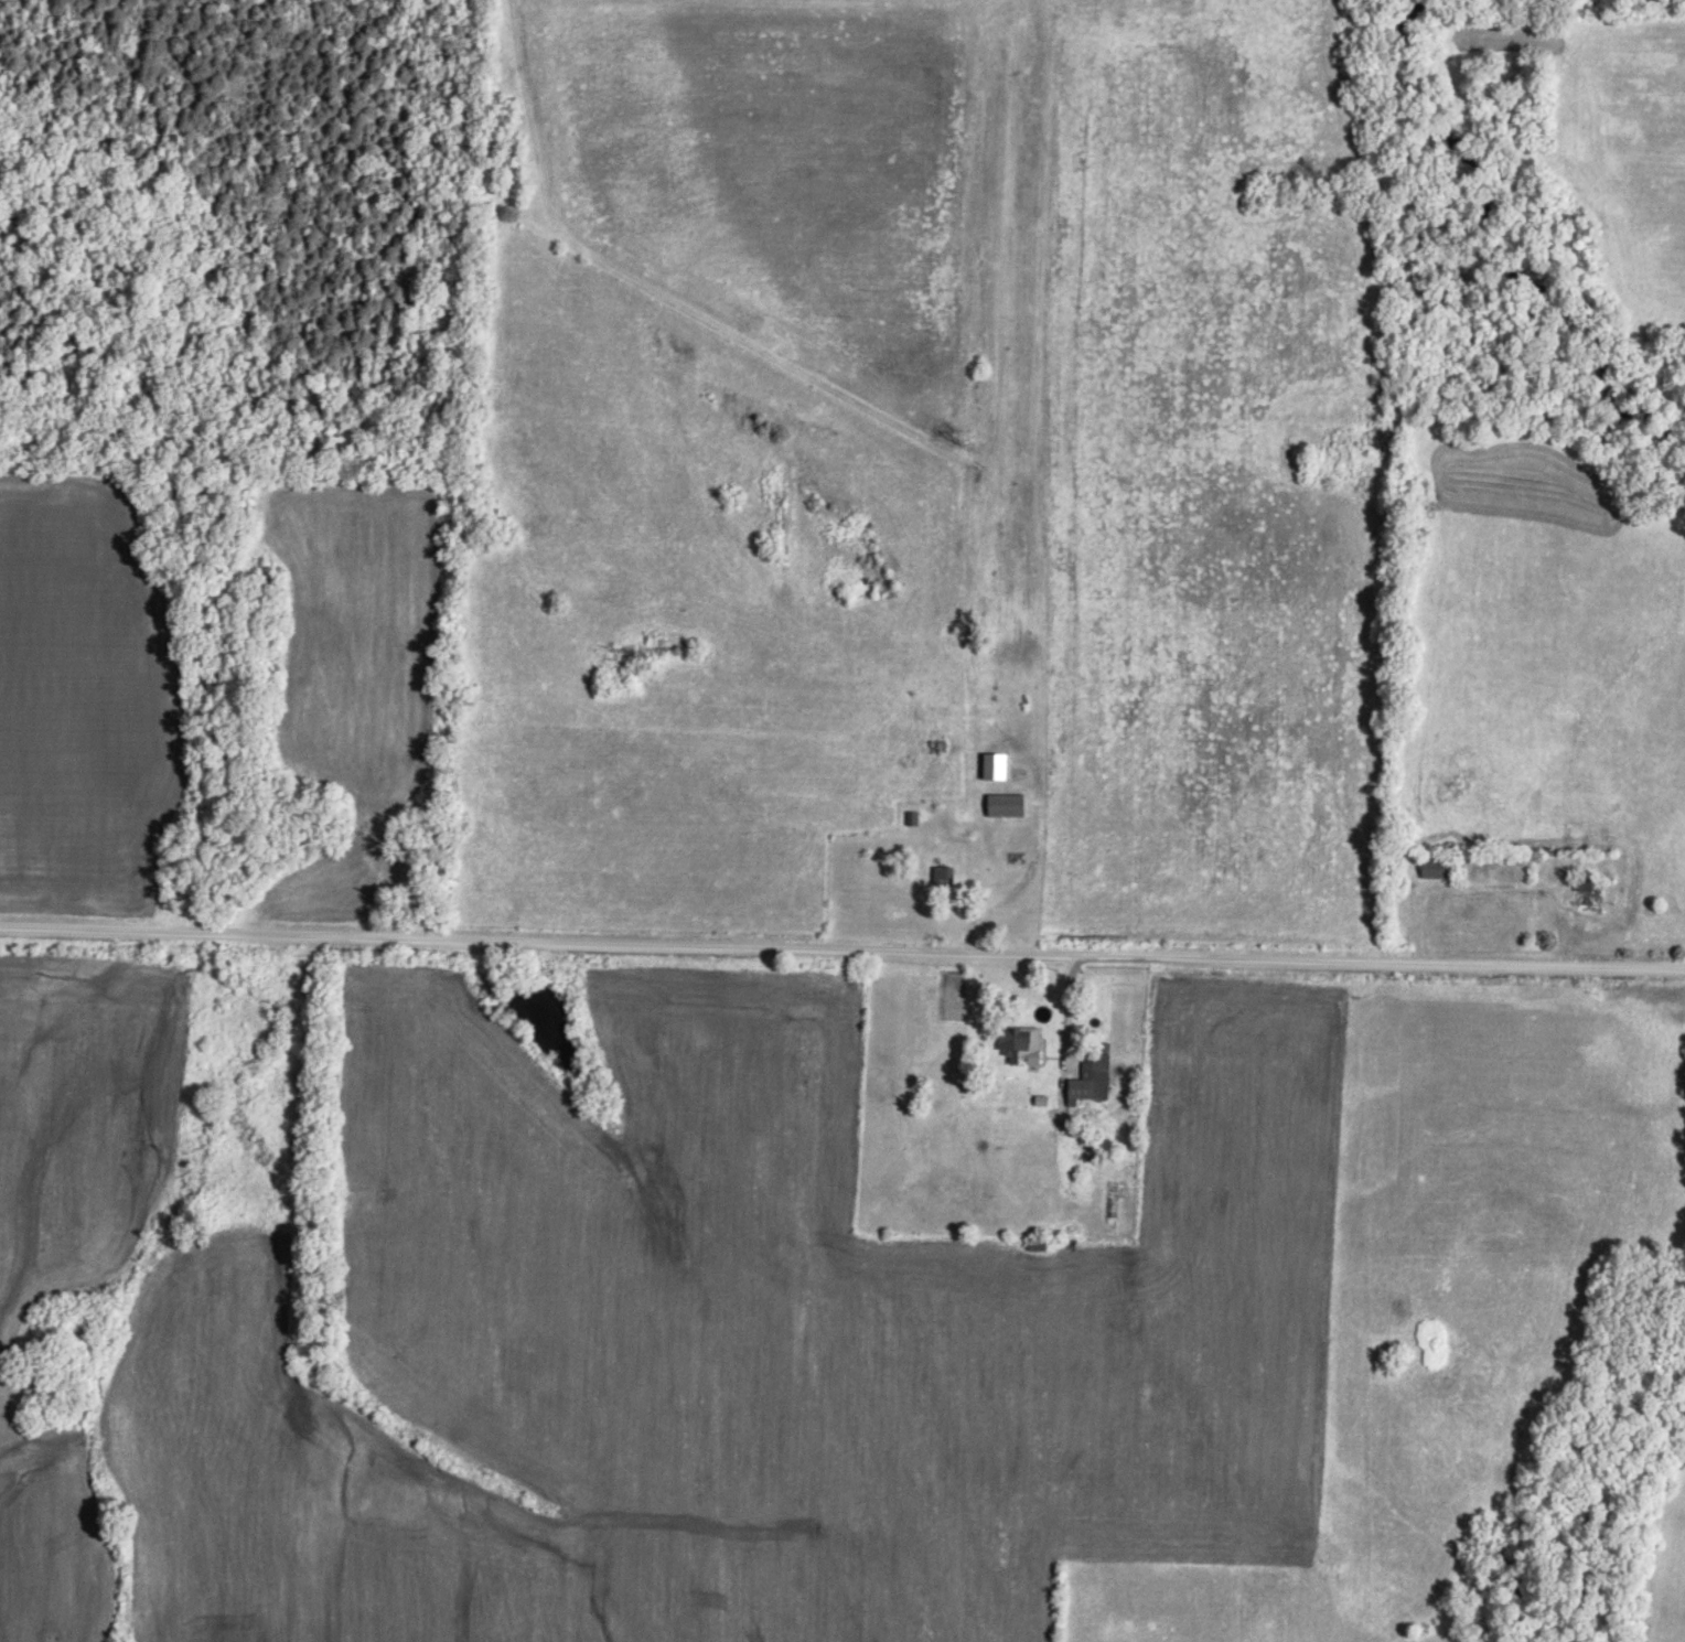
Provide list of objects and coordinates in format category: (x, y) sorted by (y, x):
building: (997, 763)
building: (1008, 802)
building: (1440, 866)
road: (1526, 880)
building: (1587, 881)
road: (841, 948)
road: (1069, 1030)
building: (1026, 1042)
building: (1094, 1075)

